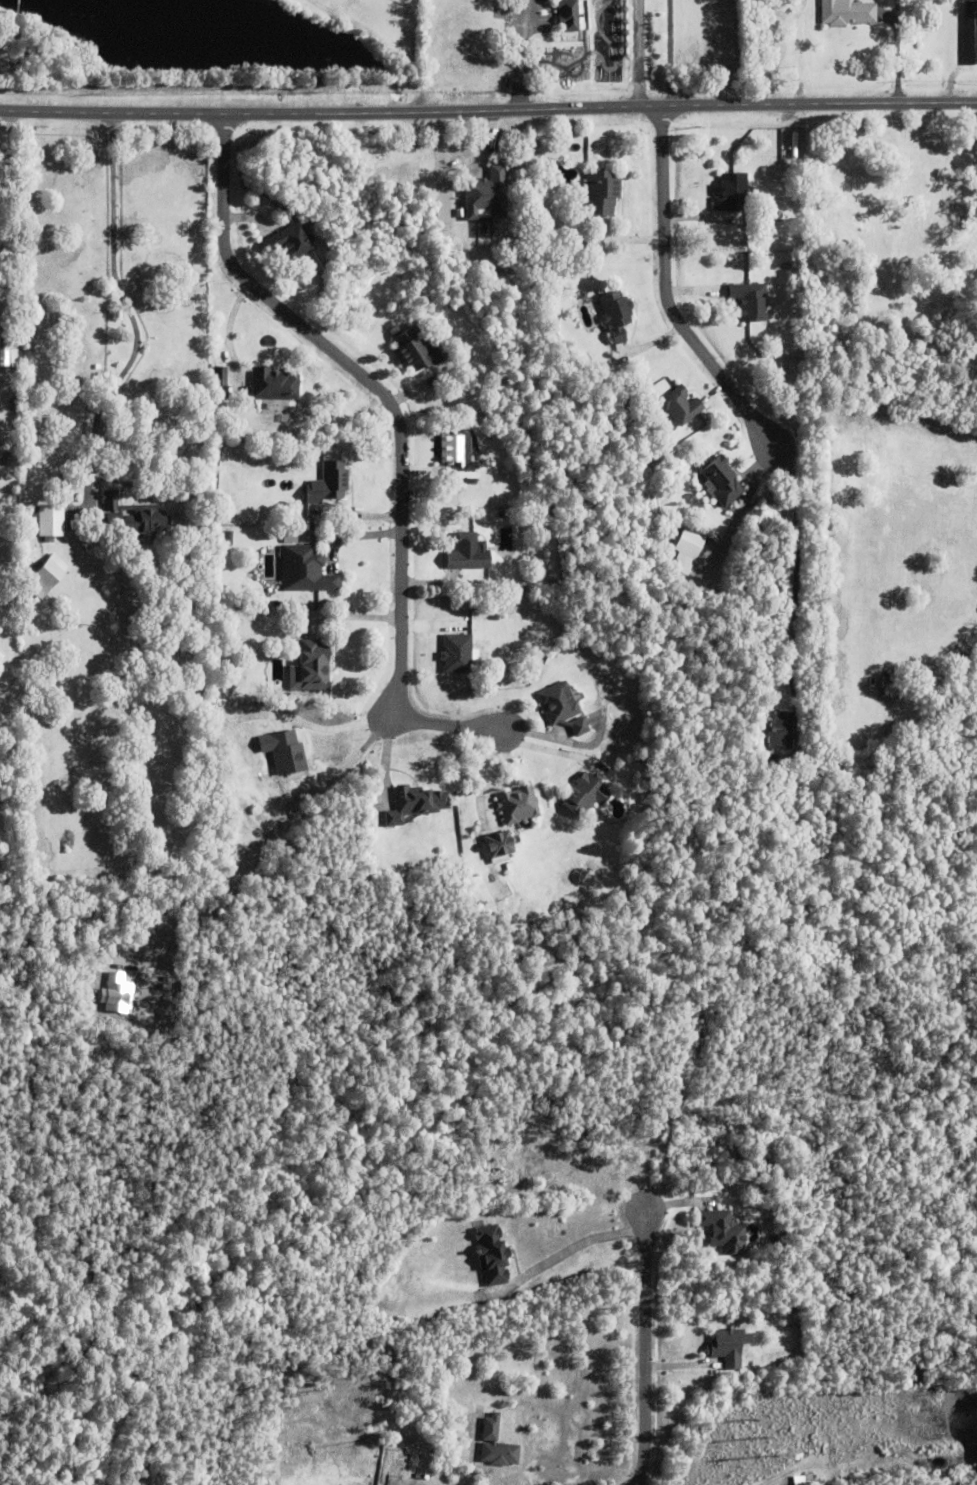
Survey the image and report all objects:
building: (845, 14)
building: (571, 15)
building: (462, 17)
building: (971, 35)
road: (666, 53)
road: (642, 54)
road: (410, 57)
road: (488, 110)
building: (794, 147)
road: (5, 179)
building: (601, 195)
building: (731, 195)
building: (486, 198)
building: (290, 238)
building: (767, 244)
road: (661, 295)
building: (748, 304)
road: (125, 305)
building: (615, 317)
building: (7, 344)
building: (417, 345)
building: (220, 374)
building: (274, 381)
building: (680, 408)
road: (400, 439)
building: (458, 453)
building: (722, 478)
building: (329, 481)
building: (135, 517)
building: (48, 519)
building: (467, 550)
building: (687, 550)
building: (307, 569)
road: (792, 571)
building: (46, 574)
building: (457, 652)
building: (313, 664)
building: (562, 706)
building: (604, 713)
road: (332, 730)
building: (774, 734)
building: (284, 749)
building: (584, 793)
building: (518, 803)
building: (417, 804)
building: (499, 841)
building: (118, 993)
building: (717, 1225)
building: (491, 1254)
road: (565, 1254)
road: (643, 1336)
building: (728, 1345)
power tower: (758, 1440)
building: (496, 1444)

